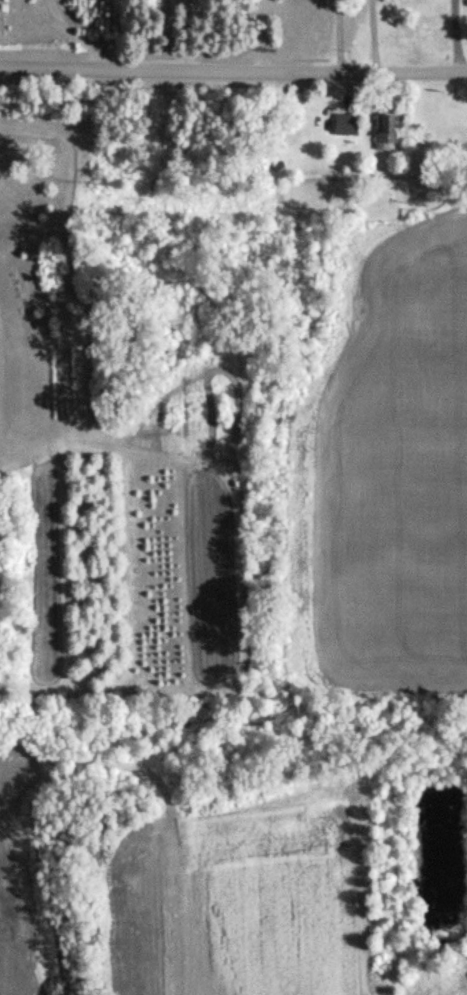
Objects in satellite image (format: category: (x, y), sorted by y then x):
road: (450, 36)
road: (233, 72)
building: (345, 125)
building: (383, 134)

